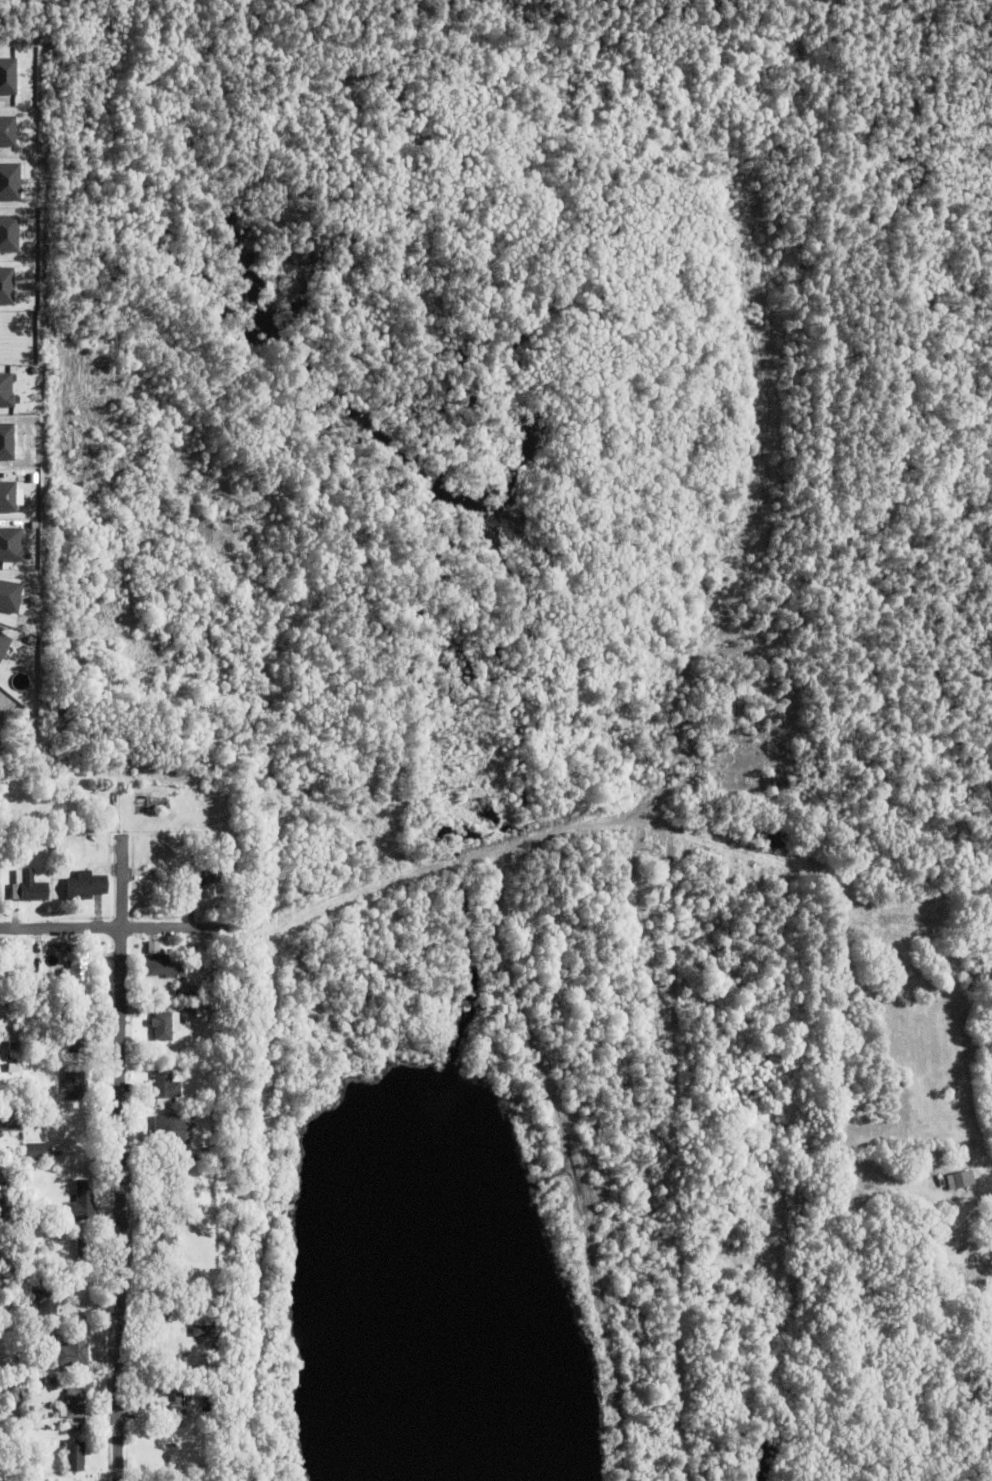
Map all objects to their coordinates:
building: (7, 285)
building: (7, 389)
building: (808, 760)
building: (790, 781)
building: (199, 836)
building: (9, 838)
building: (154, 865)
building: (206, 876)
building: (145, 877)
building: (84, 886)
building: (27, 887)
road: (119, 927)
building: (152, 947)
building: (199, 949)
building: (186, 953)
building: (161, 967)
building: (76, 969)
building: (32, 971)
building: (209, 983)
building: (180, 990)
building: (14, 995)
building: (189, 997)
building: (206, 999)
building: (223, 999)
building: (202, 1011)
building: (162, 1027)
building: (78, 1034)
building: (12, 1045)
building: (10, 1059)
building: (12, 1069)
building: (164, 1086)
building: (74, 1087)
building: (10, 1121)
building: (139, 1124)
building: (168, 1131)
road: (121, 1135)
building: (38, 1152)
building: (956, 1182)
building: (79, 1204)
building: (164, 1208)
building: (186, 1220)
building: (991, 1228)
building: (82, 1249)
building: (32, 1274)
building: (43, 1303)
building: (157, 1309)
building: (199, 1332)
road: (961, 1332)
building: (144, 1340)
building: (71, 1351)
building: (18, 1354)
building: (51, 1381)
building: (3, 1383)
building: (145, 1395)
building: (205, 1398)
building: (178, 1399)
building: (74, 1405)
building: (139, 1413)
building: (73, 1457)
building: (3, 1477)

